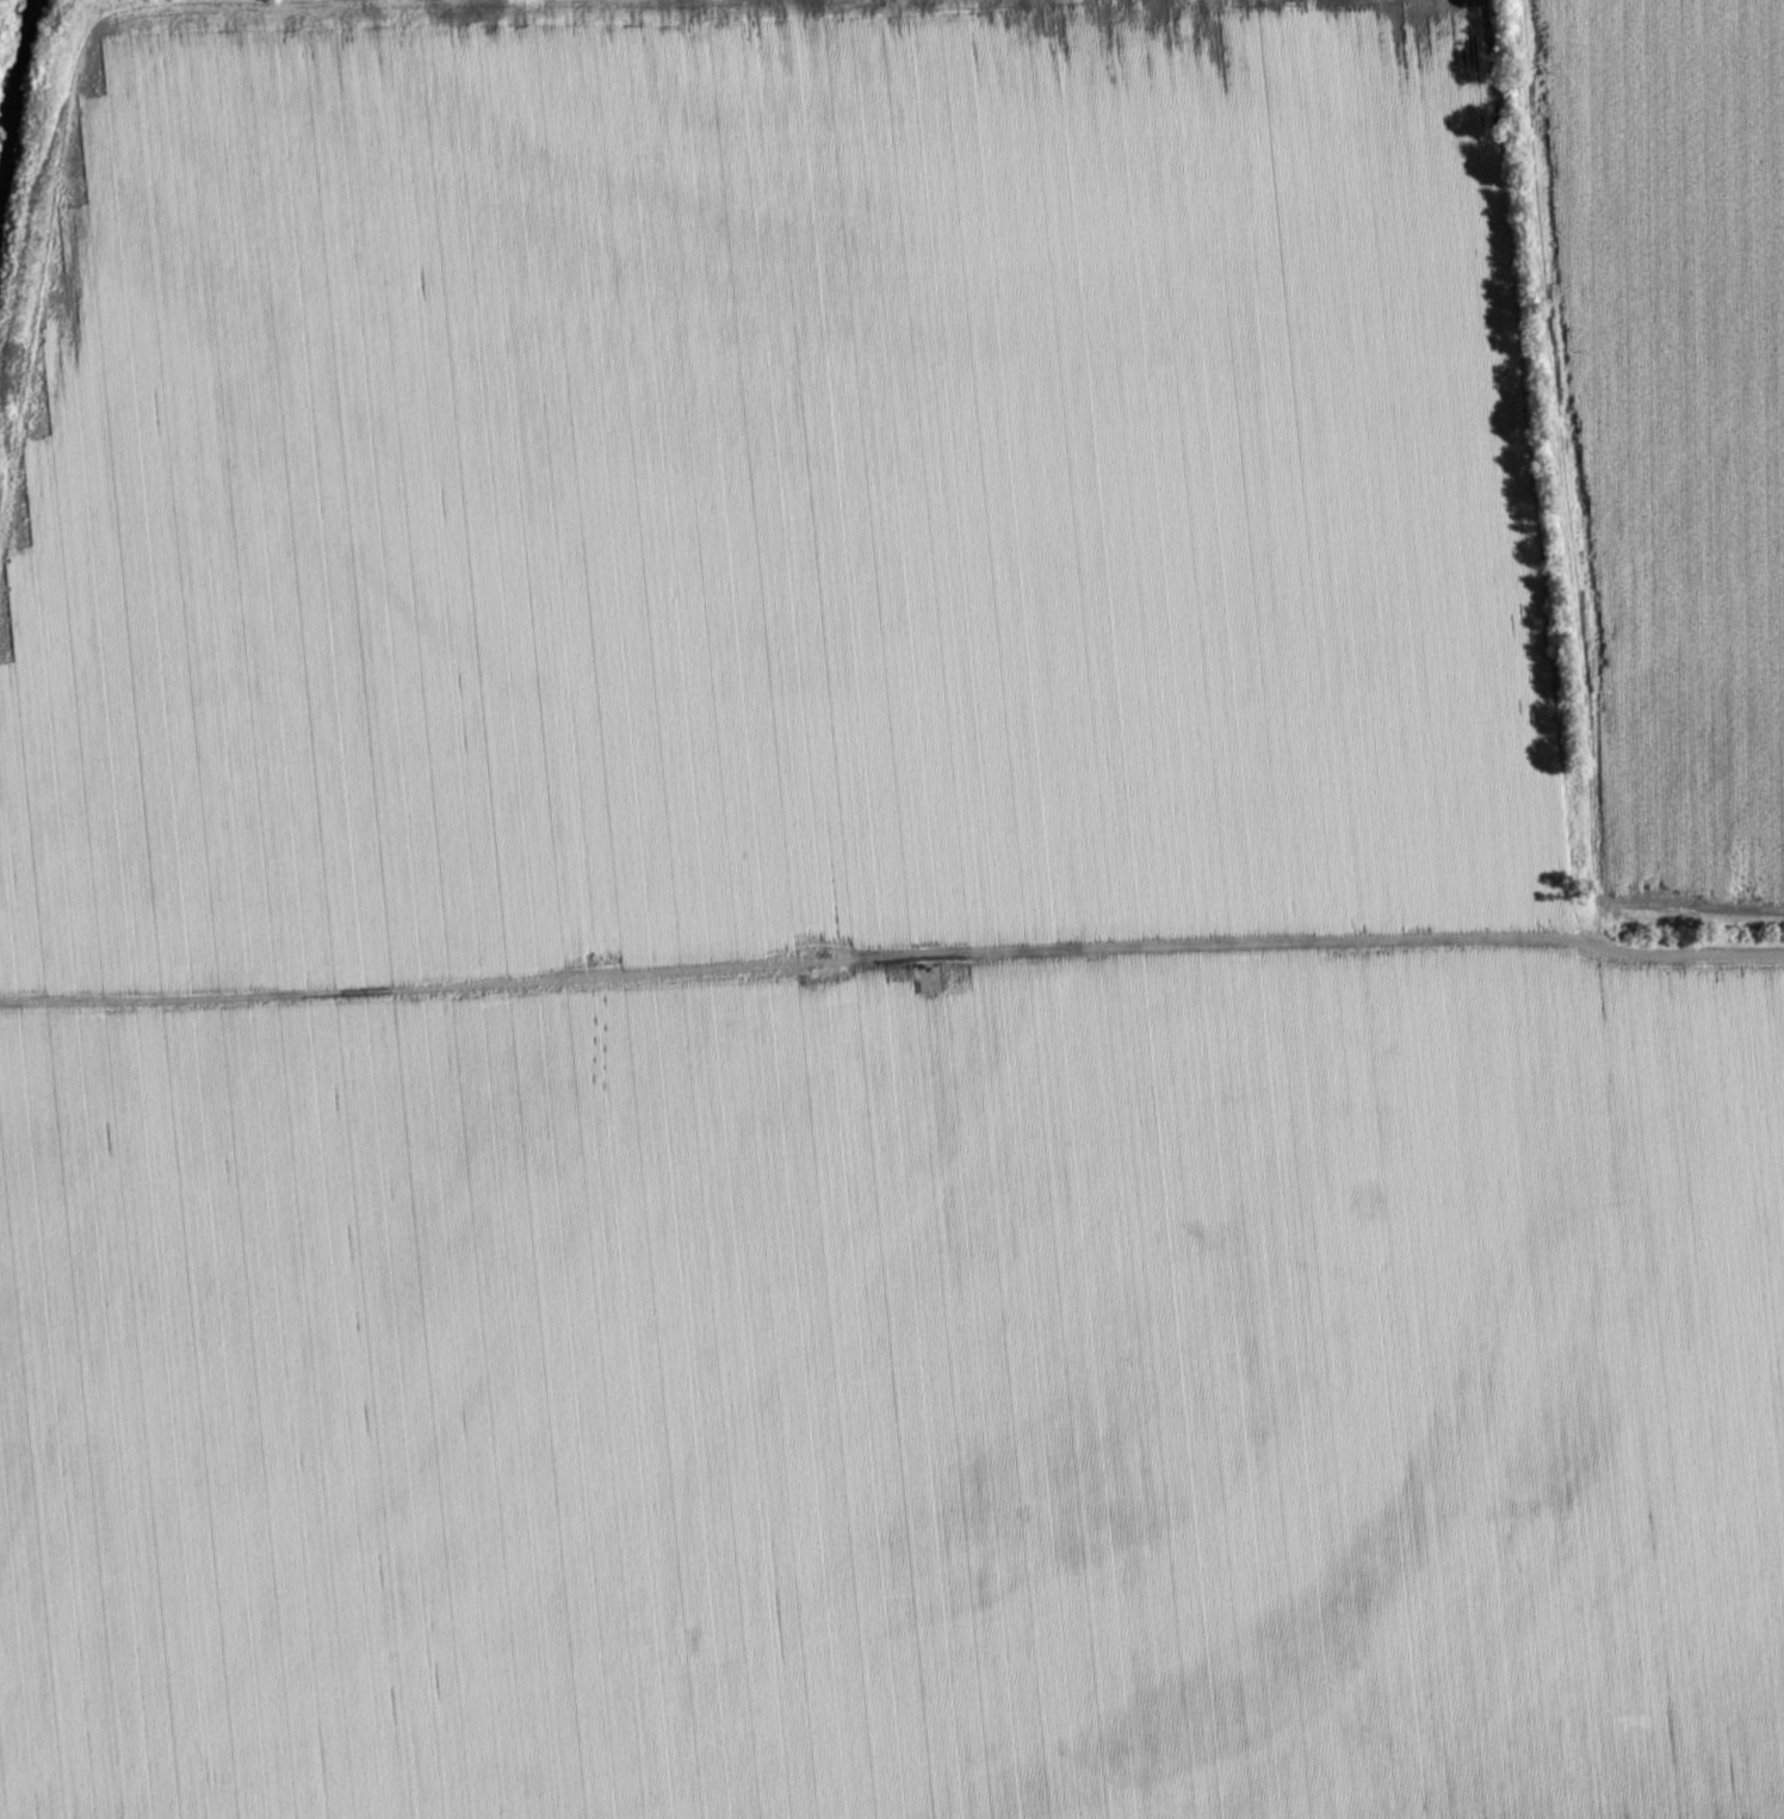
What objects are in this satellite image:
river: (17, 107)

